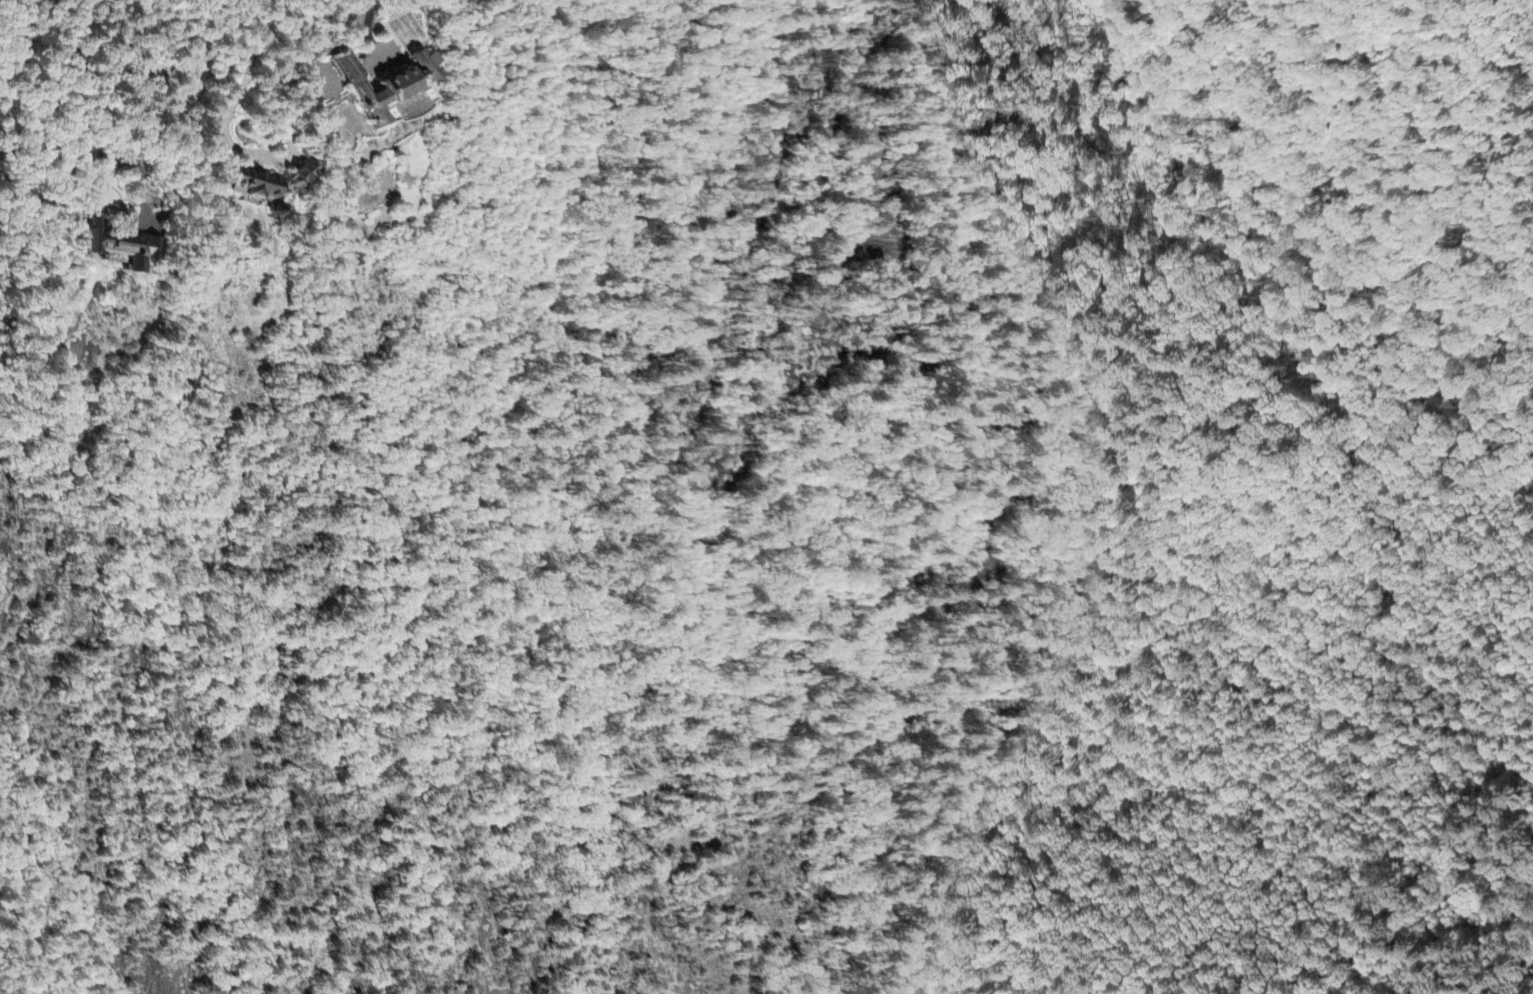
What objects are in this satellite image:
road: (373, 15)
road: (249, 60)
building: (381, 85)
building: (269, 187)
building: (120, 245)

